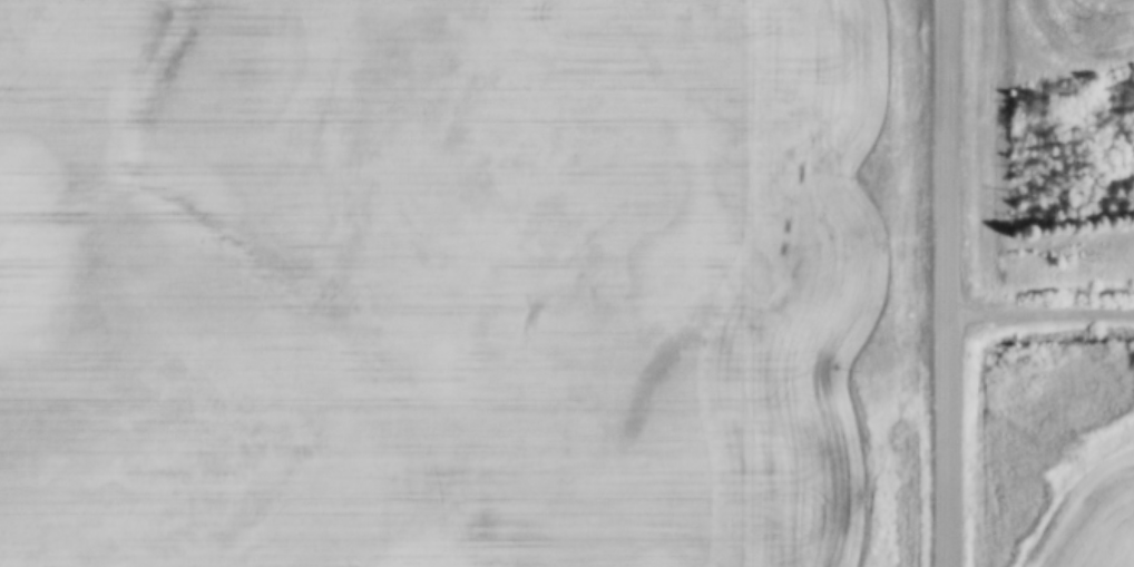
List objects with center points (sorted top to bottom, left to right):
road: (948, 283)
road: (1042, 311)

